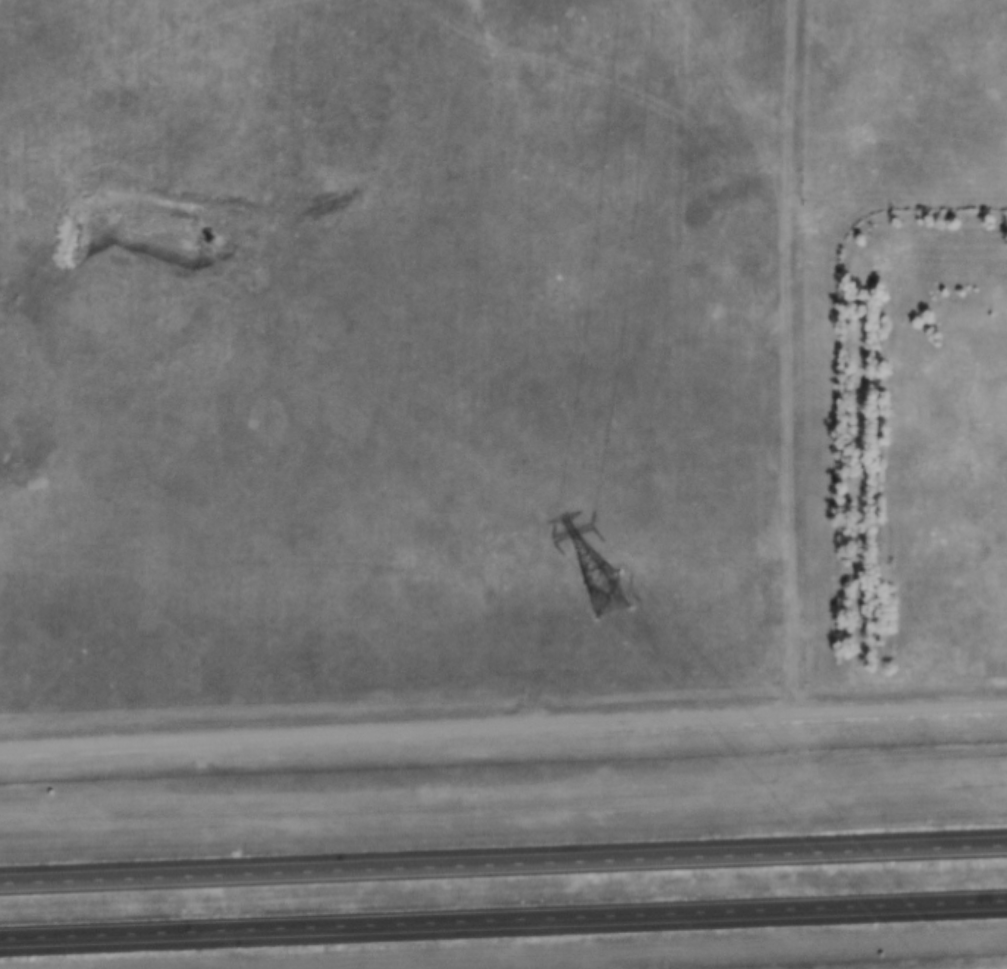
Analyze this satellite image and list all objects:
power tower: (607, 598)
road: (503, 730)
road: (503, 868)
road: (503, 921)

